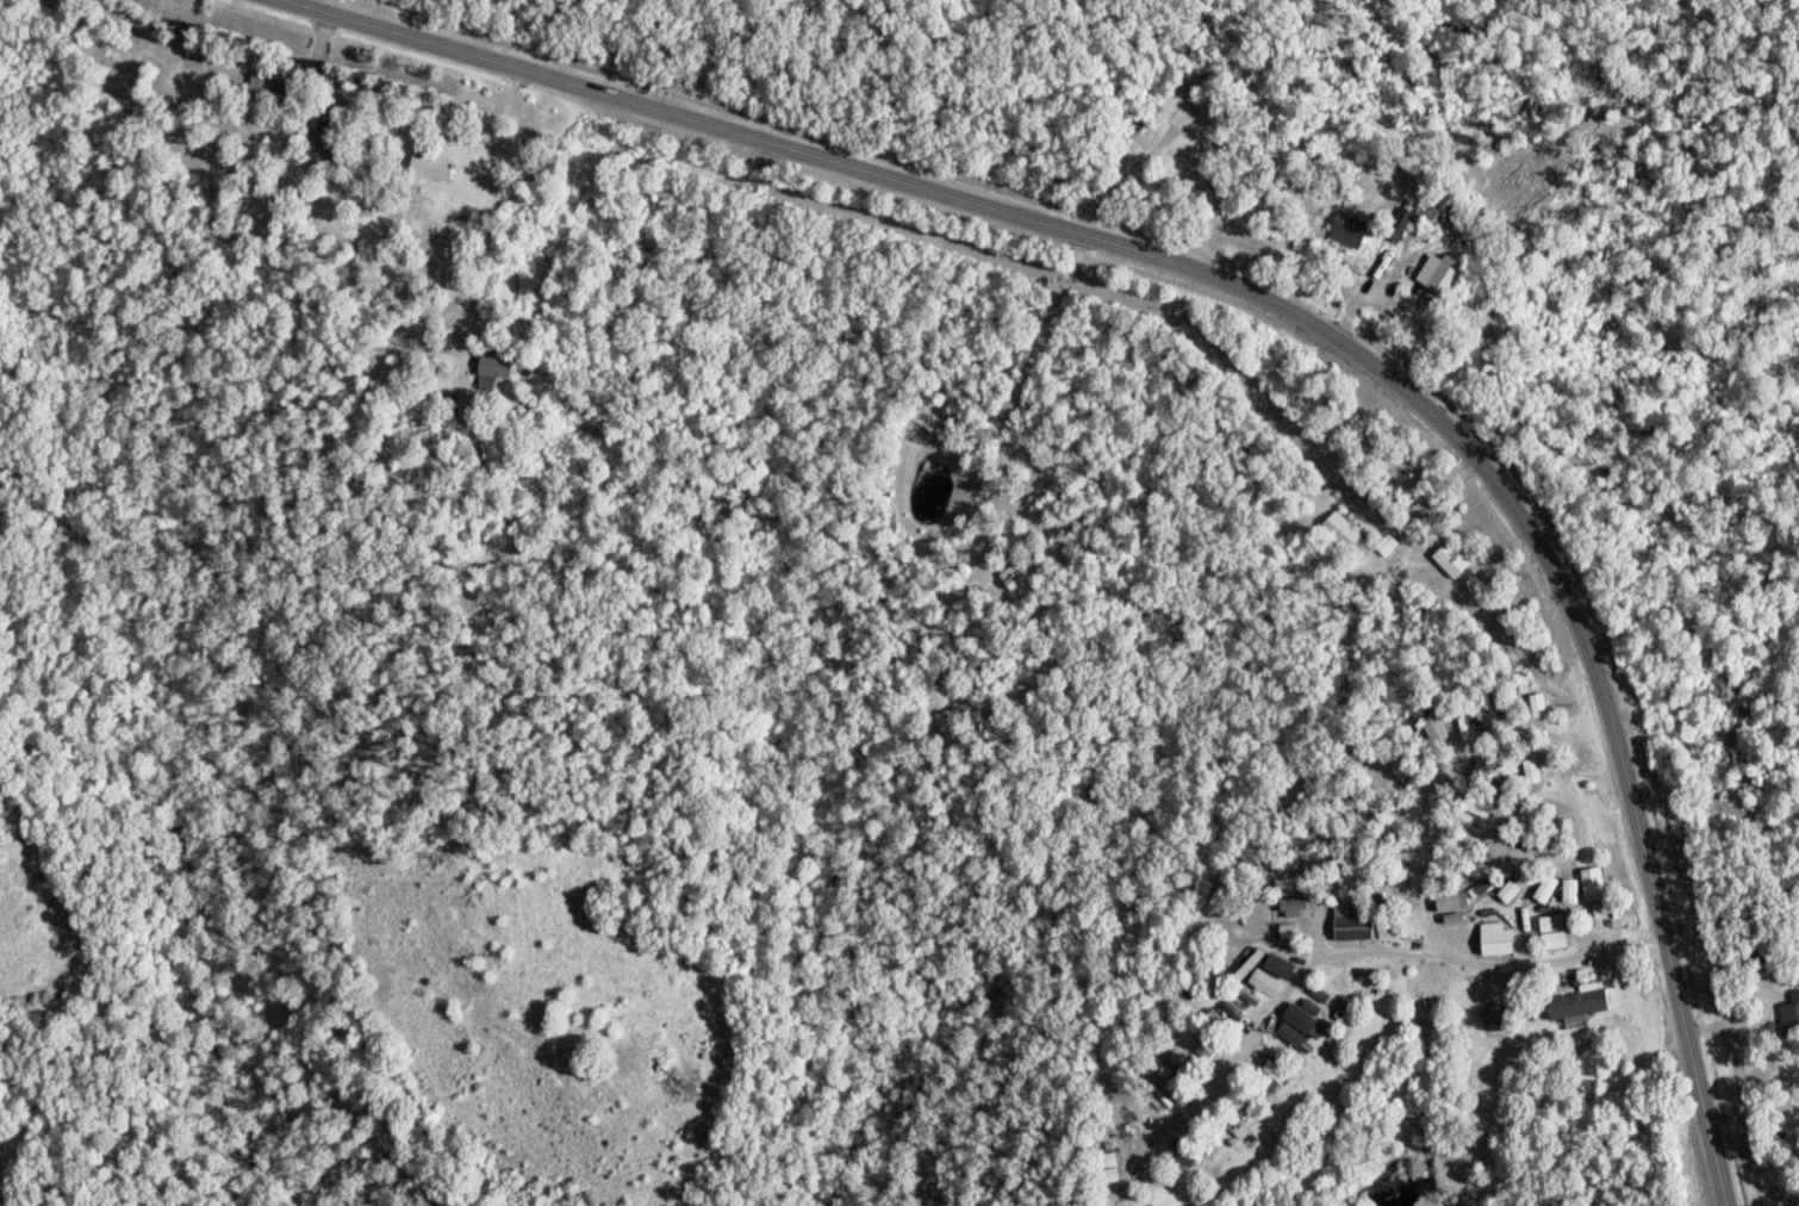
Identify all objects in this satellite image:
building: (263, 85)
building: (319, 133)
building: (431, 167)
building: (1401, 225)
building: (1351, 230)
building: (1443, 273)
road: (1280, 304)
building: (492, 369)
road: (1032, 379)
building: (1346, 533)
building: (1452, 559)
building: (1014, 576)
road: (1694, 644)
building: (1538, 705)
building: (1484, 719)
building: (951, 728)
building: (1436, 728)
building: (1401, 770)
building: (1532, 771)
building: (1479, 806)
building: (1594, 884)
building: (1481, 888)
building: (1546, 889)
building: (1509, 891)
building: (1570, 891)
building: (1291, 899)
building: (1452, 902)
building: (1455, 918)
building: (1352, 924)
building: (1289, 932)
building: (1554, 932)
building: (1496, 939)
building: (1246, 963)
building: (1280, 966)
road: (1502, 974)
building: (1265, 983)
building: (1250, 995)
building: (1320, 995)
road: (1294, 996)
building: (1577, 1003)
building: (1312, 1007)
building: (1233, 1011)
building: (1791, 1015)
building: (1499, 1020)
building: (1296, 1025)
building: (1272, 1077)
building: (1185, 1158)
building: (1109, 1168)

